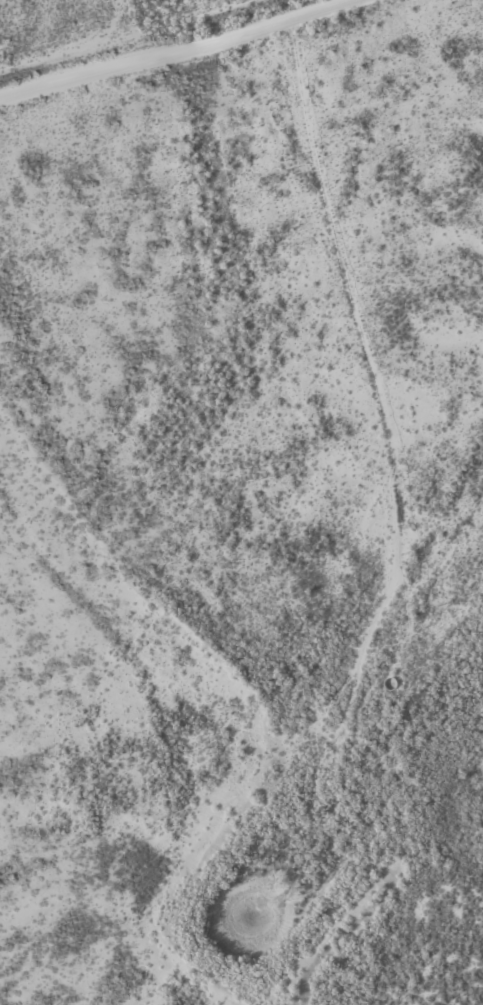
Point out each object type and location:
road: (183, 51)
road: (373, 387)
road: (166, 724)

